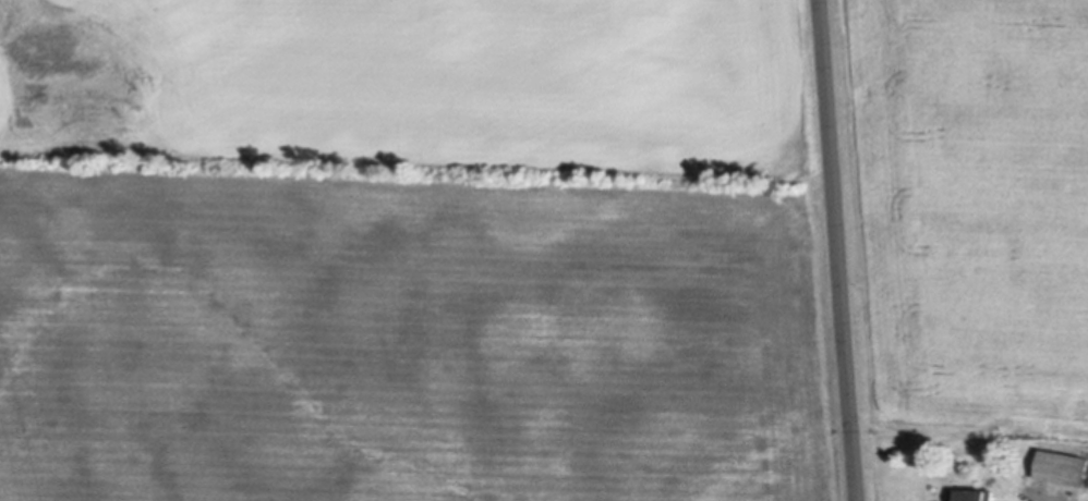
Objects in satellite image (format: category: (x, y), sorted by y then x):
road: (837, 250)
building: (1061, 466)
building: (971, 493)

